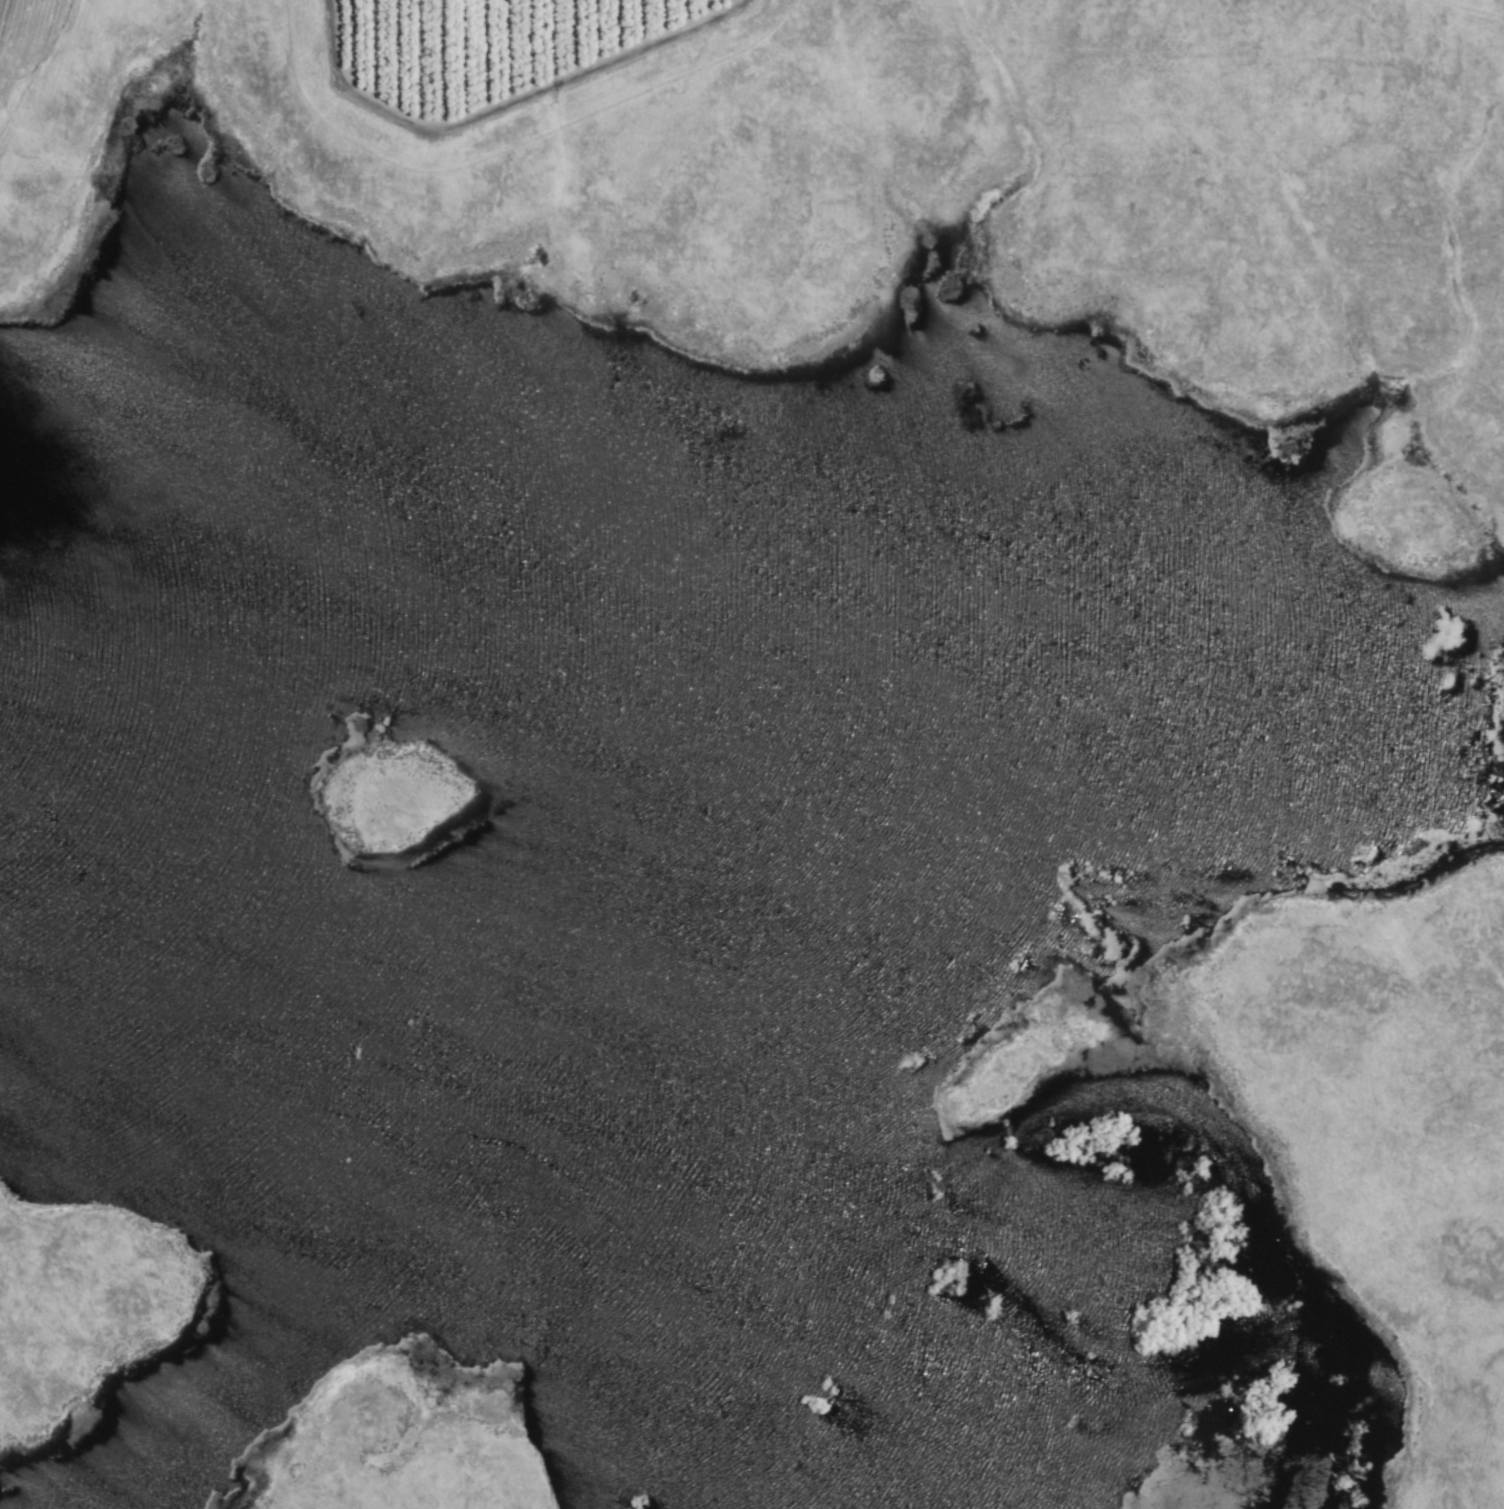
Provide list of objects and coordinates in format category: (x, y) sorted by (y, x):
crop: (482, 47)

